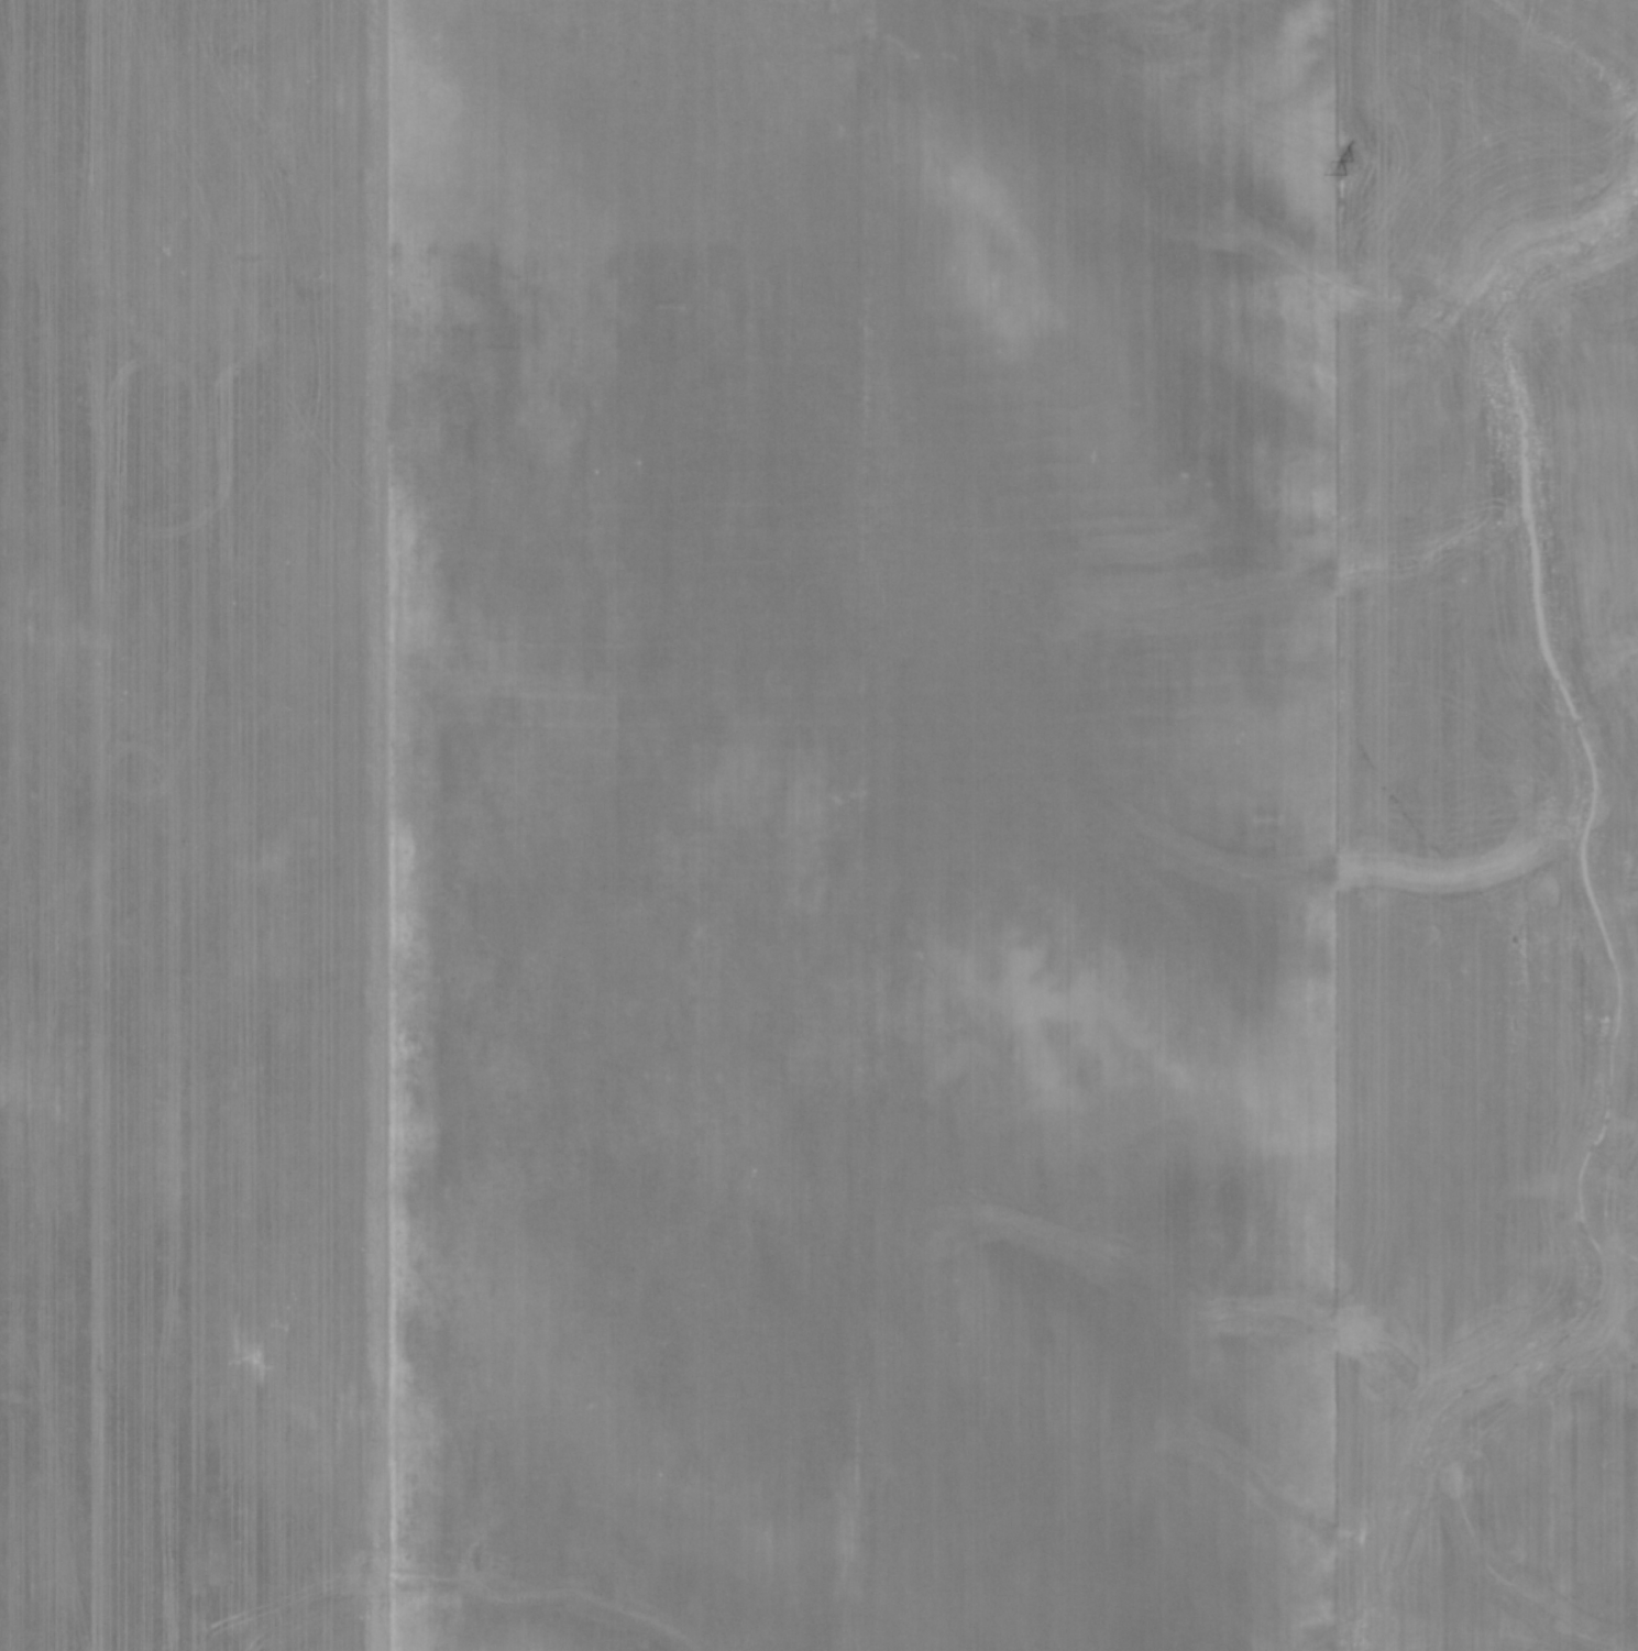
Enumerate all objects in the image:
power tower: (1348, 165)
crop: (818, 825)

